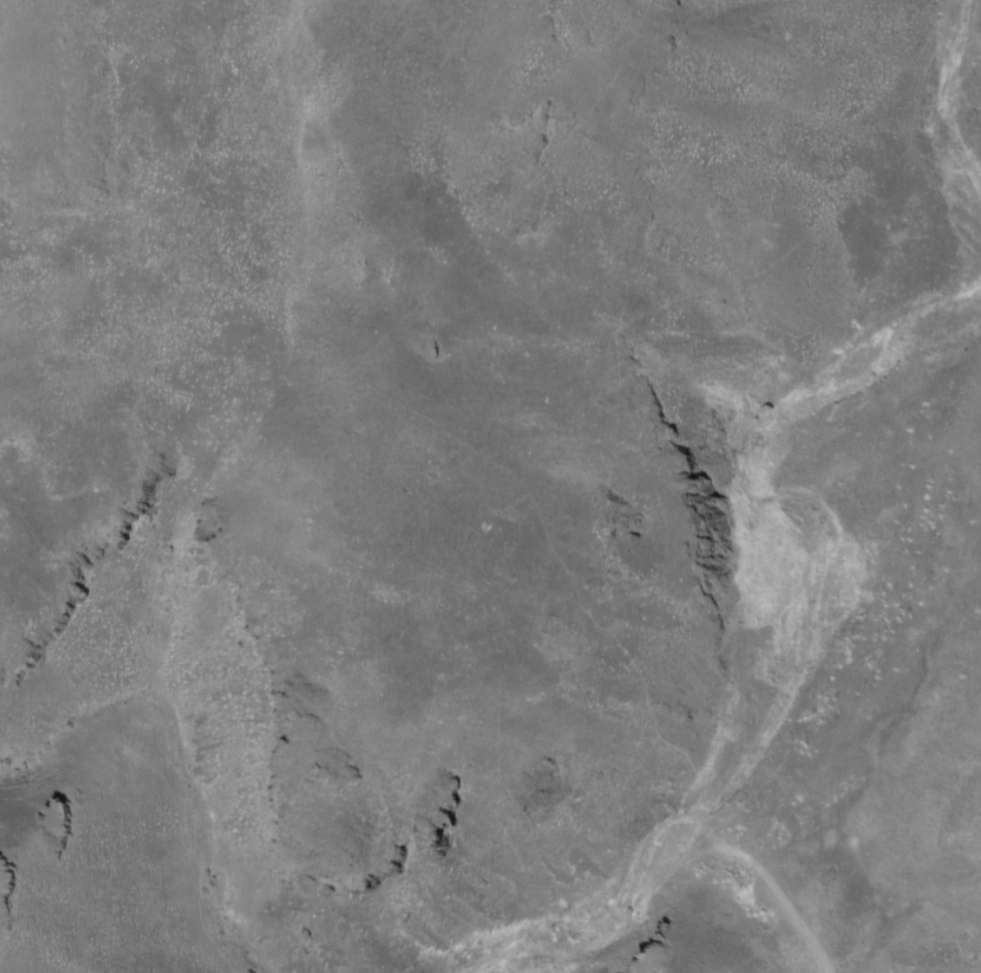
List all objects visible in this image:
road: (793, 916)

